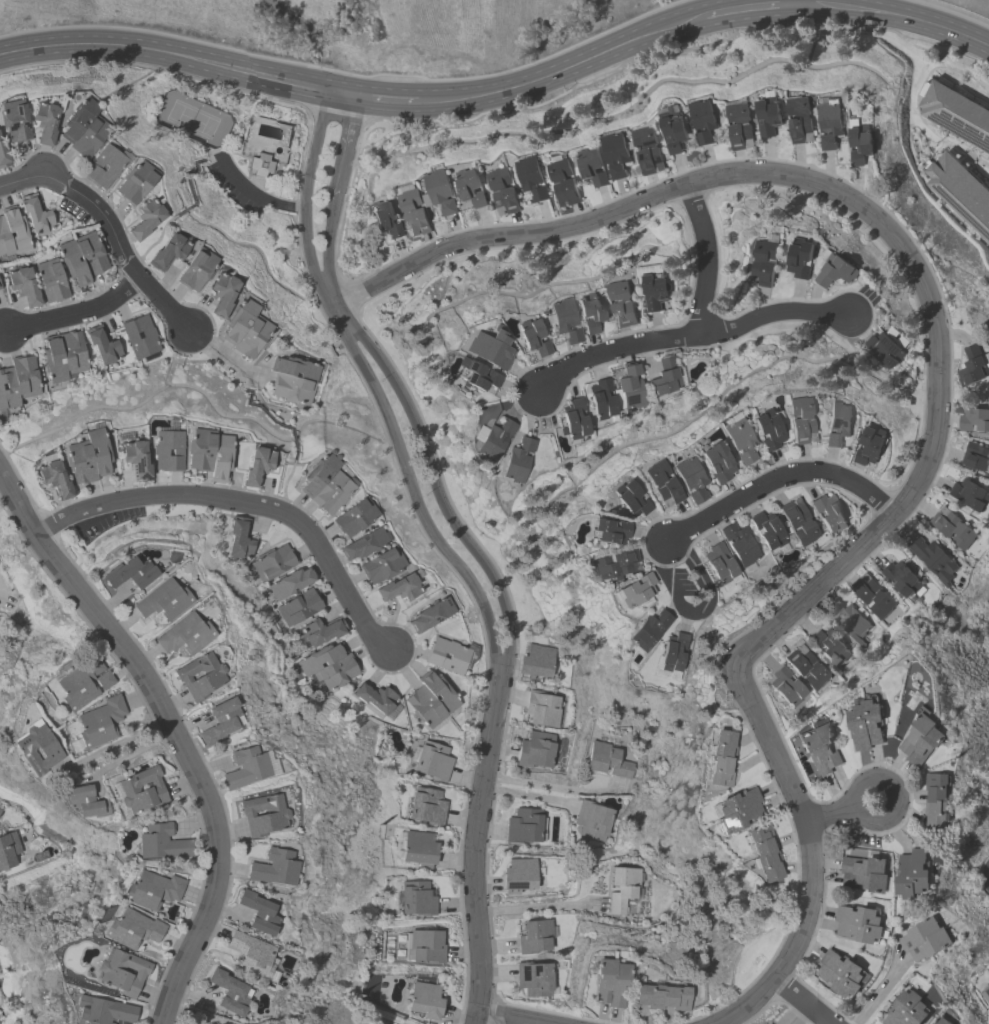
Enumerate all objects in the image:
road: (794, 3)
road: (751, 8)
road: (894, 13)
road: (172, 56)
road: (564, 61)
road: (380, 94)
building: (955, 112)
building: (768, 116)
building: (77, 119)
building: (800, 119)
building: (702, 120)
building: (13, 121)
park: (192, 121)
building: (43, 122)
building: (829, 123)
building: (739, 126)
building: (673, 130)
building: (89, 137)
building: (859, 141)
building: (648, 149)
building: (616, 154)
road: (214, 158)
building: (3, 159)
building: (260, 165)
building: (103, 167)
building: (592, 167)
building: (532, 177)
building: (135, 182)
building: (563, 182)
building: (471, 187)
building: (439, 190)
building: (503, 190)
building: (960, 191)
road: (261, 198)
road: (861, 207)
building: (414, 212)
building: (35, 214)
building: (385, 219)
building: (145, 220)
road: (111, 228)
building: (12, 233)
road: (156, 242)
building: (167, 252)
building: (90, 253)
road: (705, 258)
building: (800, 258)
building: (72, 263)
building: (764, 263)
building: (835, 269)
building: (196, 270)
building: (50, 280)
building: (654, 286)
building: (23, 287)
building: (0, 289)
building: (222, 294)
building: (621, 303)
building: (590, 312)
road: (76, 313)
building: (564, 320)
building: (238, 321)
road: (688, 336)
building: (140, 337)
building: (252, 337)
building: (533, 338)
building: (102, 345)
building: (489, 348)
building: (884, 349)
building: (72, 352)
building: (53, 359)
road: (218, 361)
building: (974, 366)
building: (294, 369)
building: (475, 374)
building: (25, 376)
building: (665, 378)
building: (7, 389)
building: (291, 389)
building: (629, 389)
building: (601, 399)
building: (575, 419)
building: (974, 420)
building: (800, 421)
building: (837, 425)
building: (766, 430)
building: (494, 440)
building: (738, 441)
building: (869, 446)
building: (97, 451)
building: (167, 451)
building: (200, 451)
building: (220, 458)
building: (976, 458)
building: (136, 460)
building: (517, 460)
building: (79, 463)
building: (716, 463)
building: (257, 466)
building: (318, 475)
building: (54, 479)
building: (690, 480)
building: (661, 484)
building: (331, 493)
road: (282, 494)
building: (969, 495)
building: (630, 500)
road: (243, 502)
building: (827, 513)
building: (354, 518)
road: (698, 521)
building: (798, 522)
building: (952, 528)
building: (767, 530)
building: (608, 533)
building: (240, 538)
building: (739, 543)
building: (364, 544)
road: (457, 546)
building: (934, 559)
building: (274, 563)
building: (720, 563)
building: (382, 566)
building: (614, 566)
building: (130, 574)
building: (901, 577)
building: (290, 583)
building: (399, 589)
building: (634, 592)
building: (871, 595)
building: (163, 601)
building: (299, 607)
building: (431, 616)
building: (848, 618)
building: (324, 630)
building: (649, 630)
building: (185, 636)
building: (829, 646)
building: (673, 652)
building: (446, 655)
building: (536, 660)
building: (330, 665)
building: (806, 668)
building: (200, 677)
building: (83, 684)
building: (786, 687)
building: (375, 699)
building: (430, 700)
building: (542, 709)
building: (221, 722)
building: (866, 723)
building: (98, 724)
road: (173, 729)
road: (768, 740)
building: (922, 741)
road: (117, 744)
building: (819, 748)
building: (535, 750)
building: (36, 751)
road: (132, 755)
building: (607, 760)
building: (720, 761)
building: (432, 762)
building: (246, 768)
road: (552, 786)
building: (142, 790)
road: (895, 796)
building: (938, 802)
building: (85, 803)
building: (426, 807)
building: (737, 812)
building: (0, 815)
building: (263, 816)
building: (592, 820)
building: (523, 827)
building: (161, 843)
building: (418, 849)
building: (8, 851)
building: (764, 855)
building: (274, 869)
building: (864, 873)
building: (913, 874)
road: (988, 874)
building: (518, 876)
building: (621, 889)
building: (152, 891)
building: (416, 899)
road: (531, 908)
building: (258, 914)
road: (806, 917)
building: (859, 923)
building: (132, 929)
building: (534, 937)
building: (925, 938)
building: (426, 946)
building: (251, 956)
building: (123, 973)
building: (841, 974)
building: (534, 979)
building: (609, 983)
building: (988, 986)
road: (878, 991)
building: (229, 994)
building: (986, 994)
building: (662, 998)
building: (424, 999)
road: (803, 1001)
building: (906, 1009)
building: (103, 1012)
road: (196, 1015)
road: (509, 1017)
building: (941, 1020)

